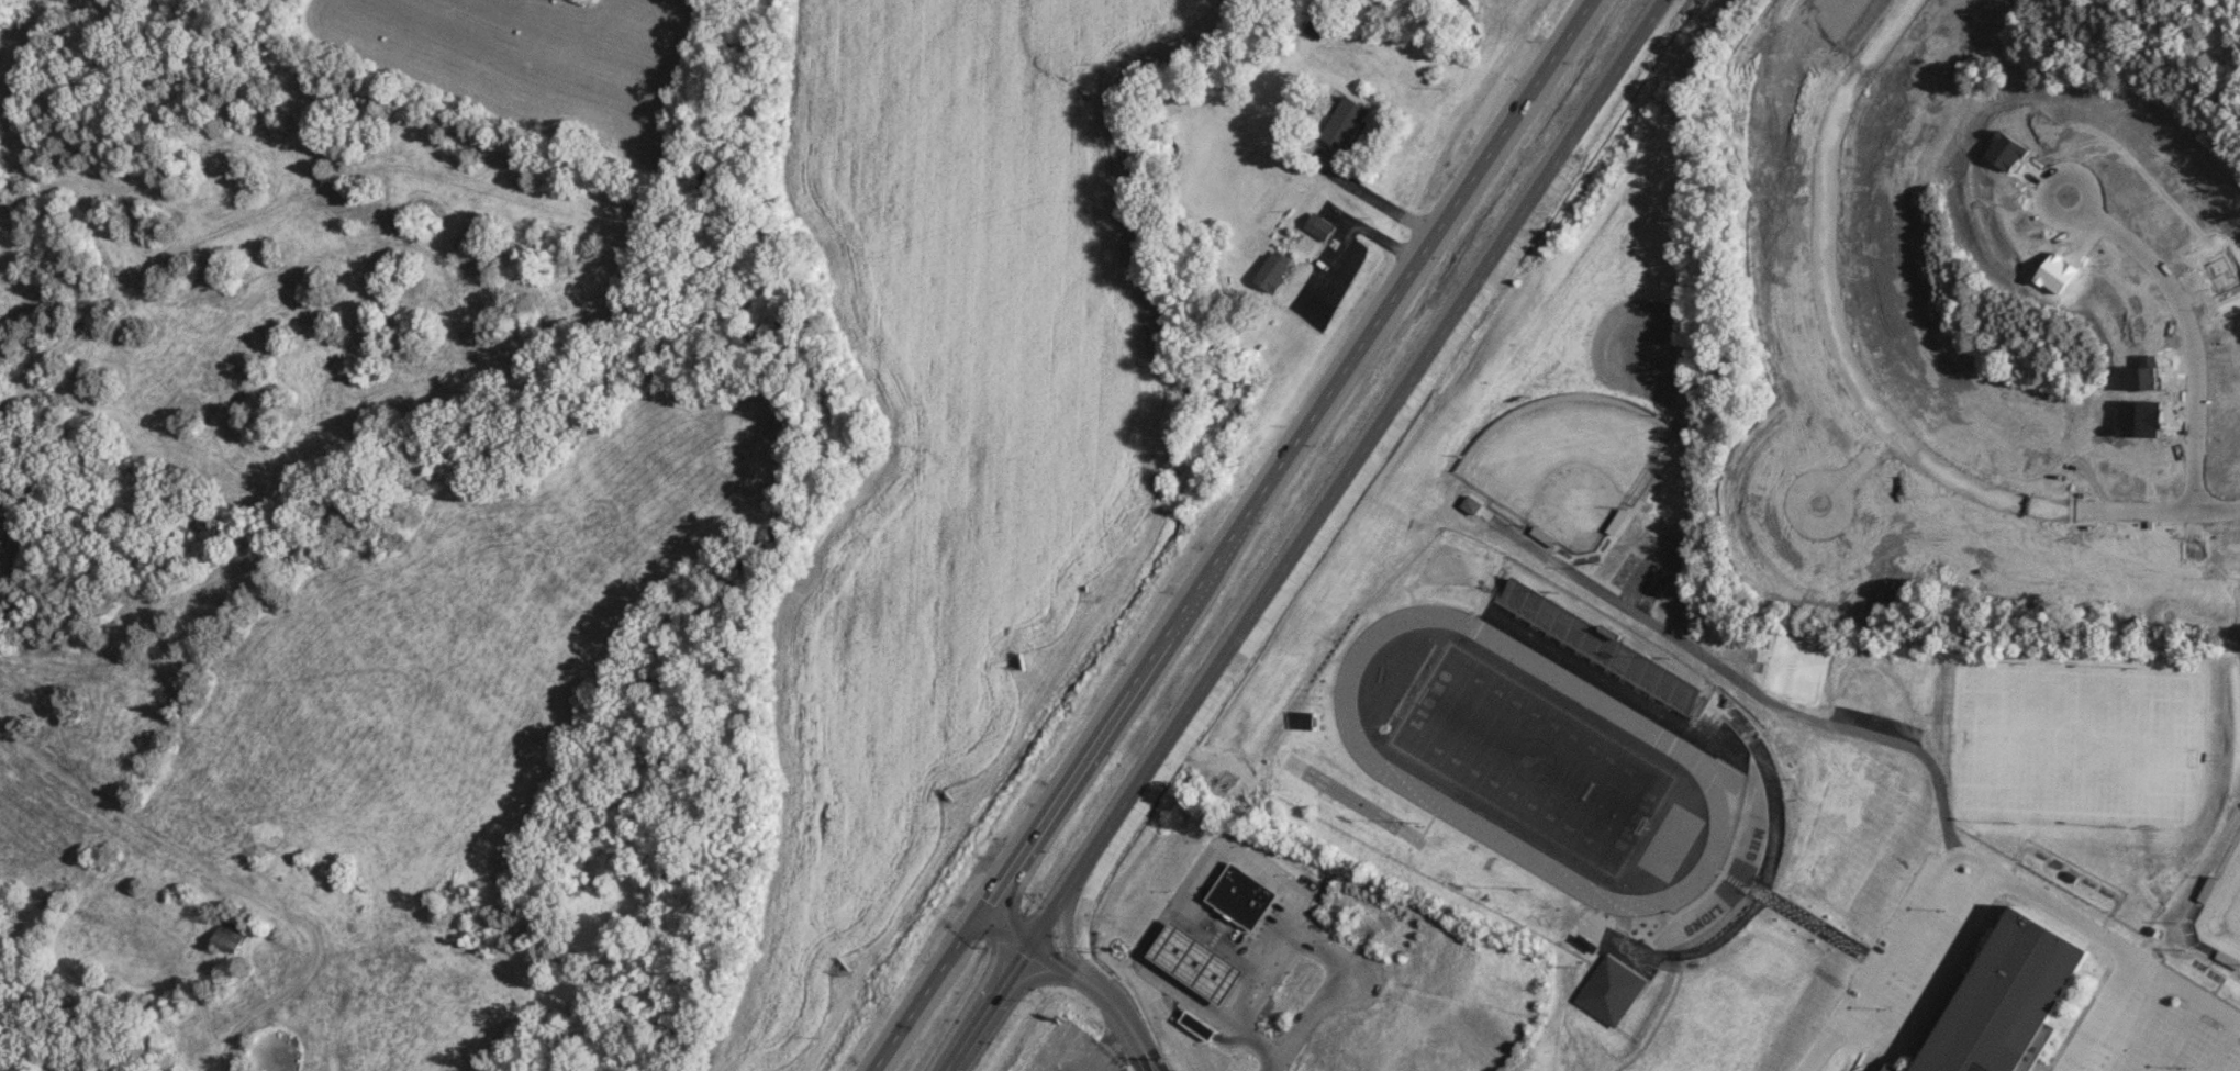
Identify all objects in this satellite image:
building: (1347, 121)
road: (1373, 196)
building: (1322, 225)
building: (1274, 270)
road: (2182, 331)
road: (1858, 392)
road: (1852, 468)
road: (1347, 471)
road: (1230, 535)
building: (1596, 643)
road: (1986, 863)
road: (1185, 886)
road: (1012, 888)
building: (358, 894)
building: (1246, 895)
traffic signals: (988, 900)
traffic signals: (1011, 902)
road: (991, 915)
road: (1005, 925)
road: (1021, 935)
road: (1070, 935)
building: (231, 936)
road: (1222, 936)
road: (1307, 941)
traffic signals: (1025, 953)
traffic signals: (1051, 956)
road: (1052, 957)
road: (1002, 960)
building: (1201, 961)
road: (1080, 974)
road: (299, 980)
road: (1033, 980)
building: (1608, 989)
building: (2001, 995)
road: (989, 1006)
road: (2100, 1014)
road: (1128, 1018)
building: (1201, 1024)
road: (1274, 1063)
building: (1890, 1068)

